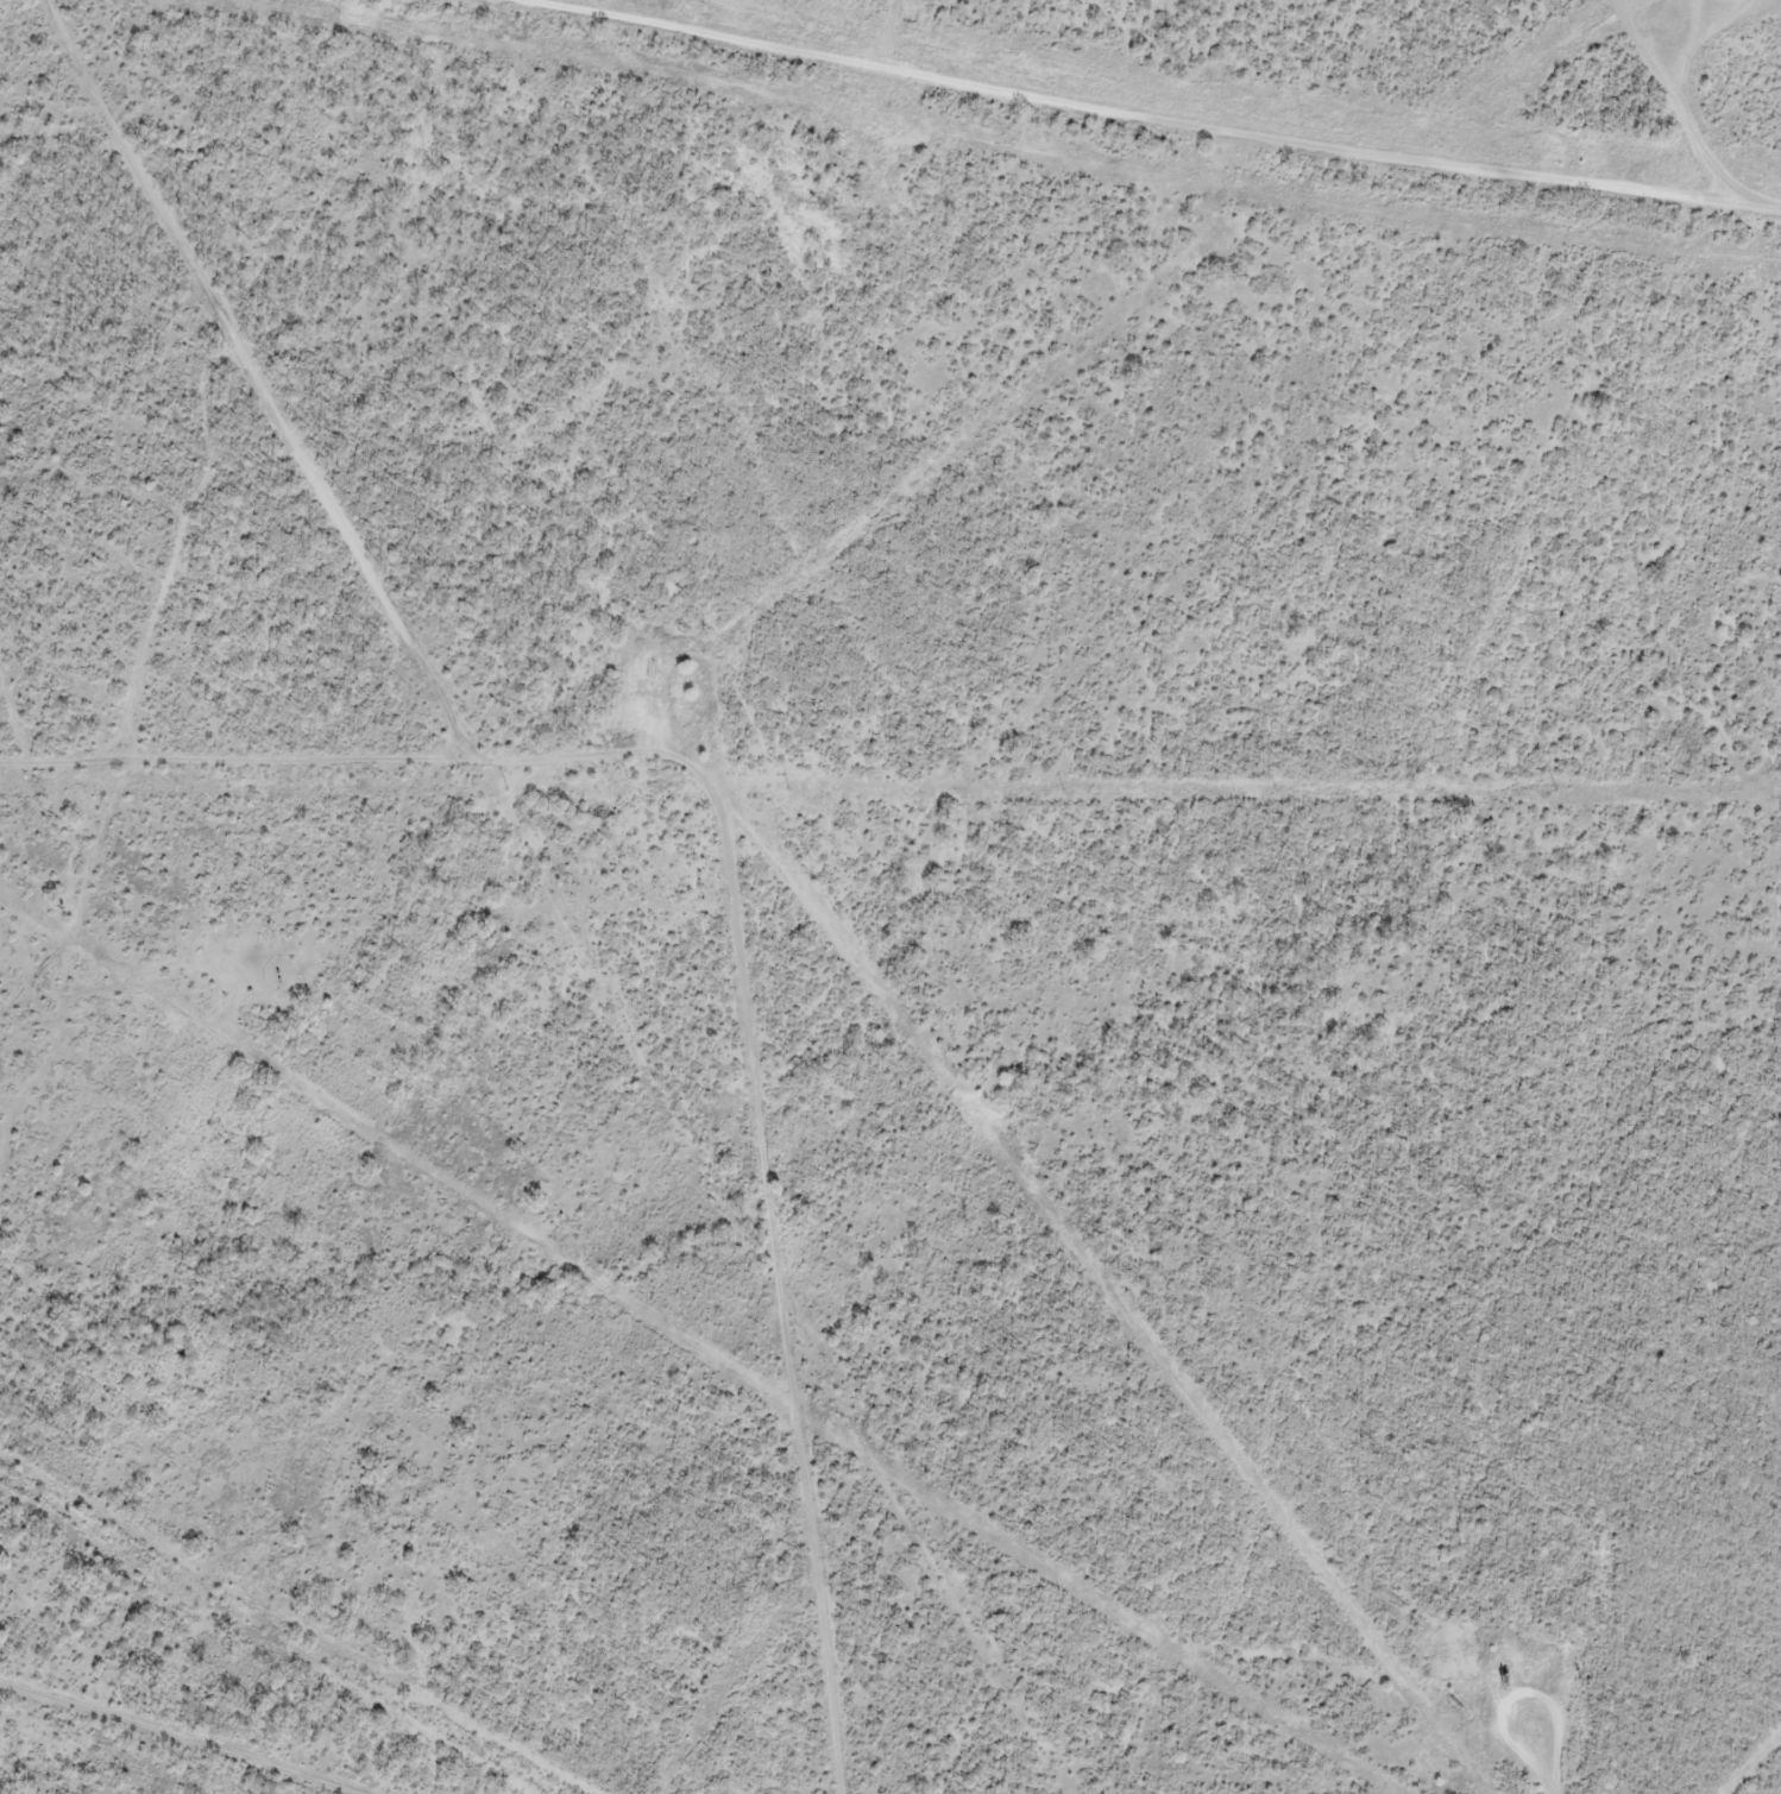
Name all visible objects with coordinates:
road: (1681, 117)

